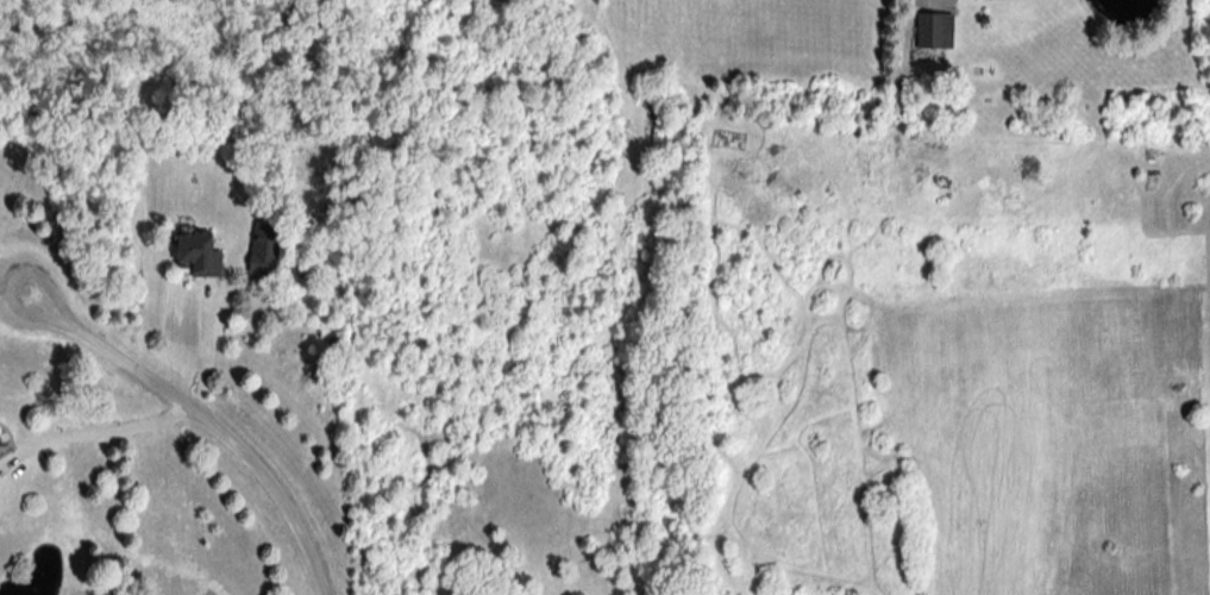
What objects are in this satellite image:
building: (933, 30)
building: (263, 246)
building: (199, 252)
road: (189, 411)
road: (87, 427)

